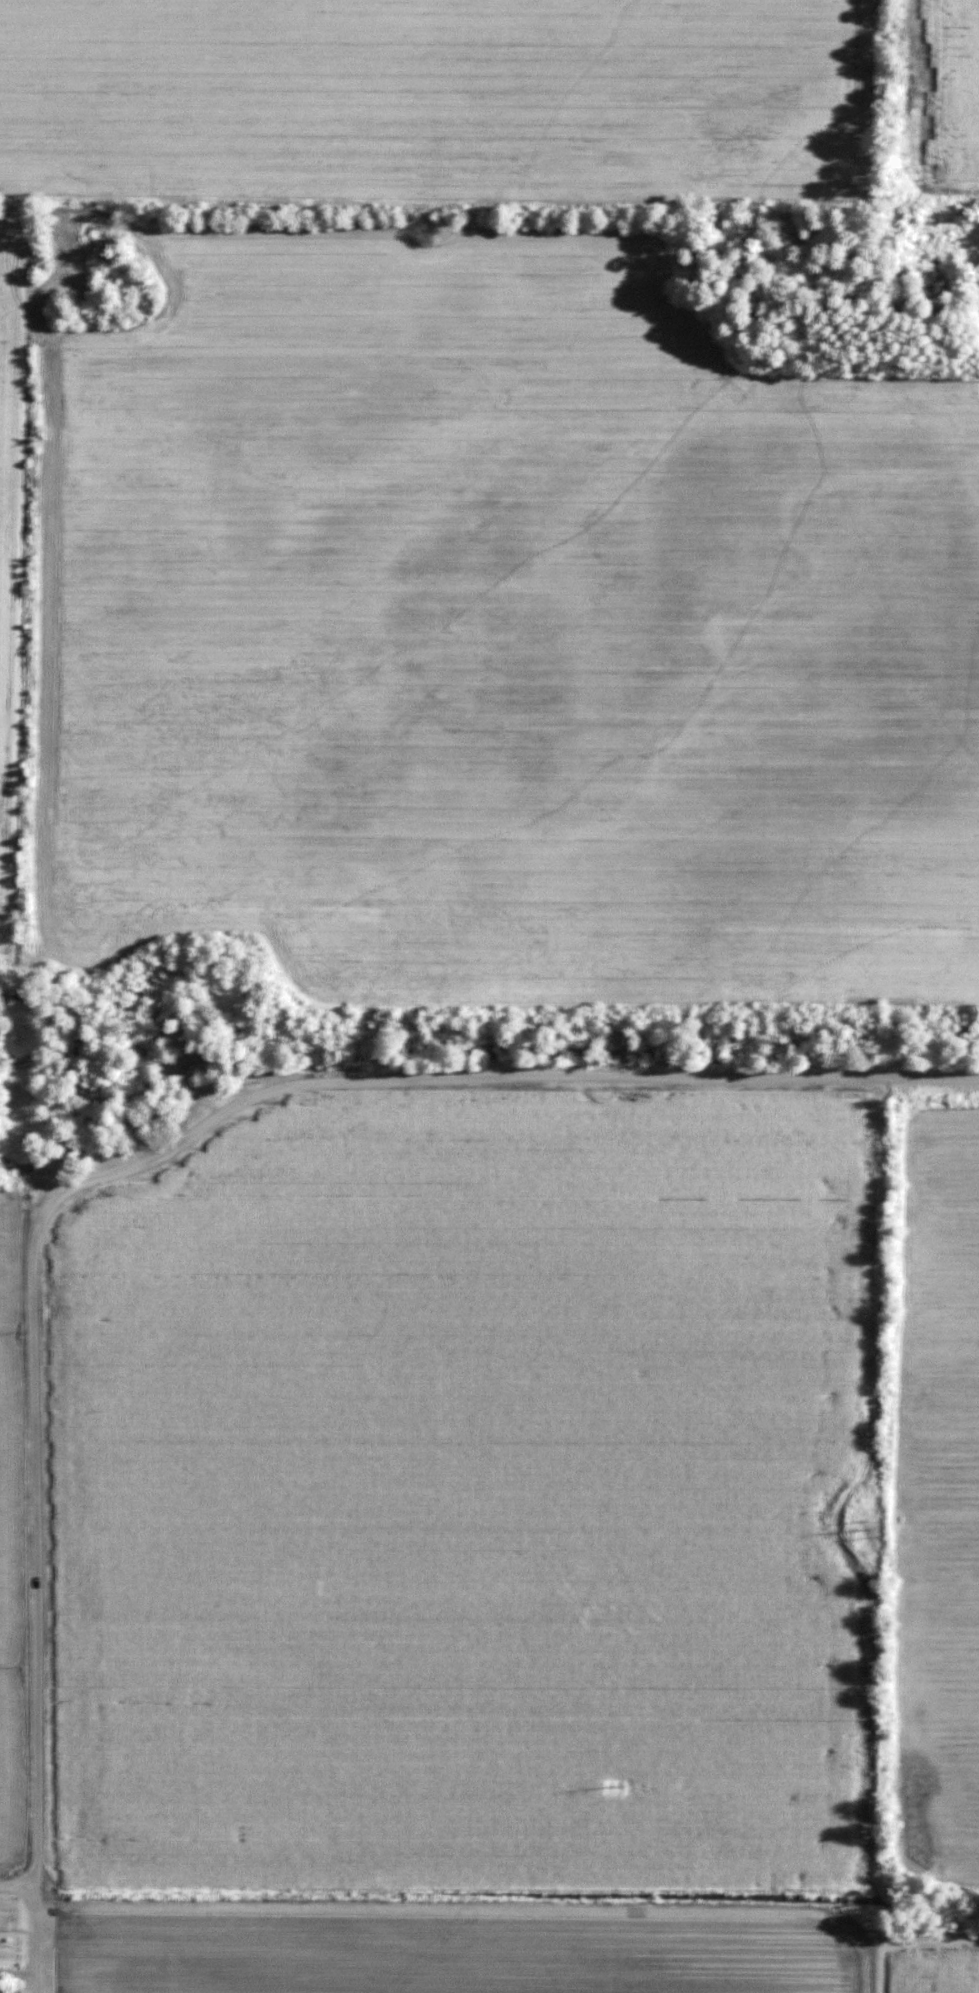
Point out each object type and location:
road: (124, 1172)
power tower: (867, 1519)
power tower: (623, 1785)
road: (18, 1885)

